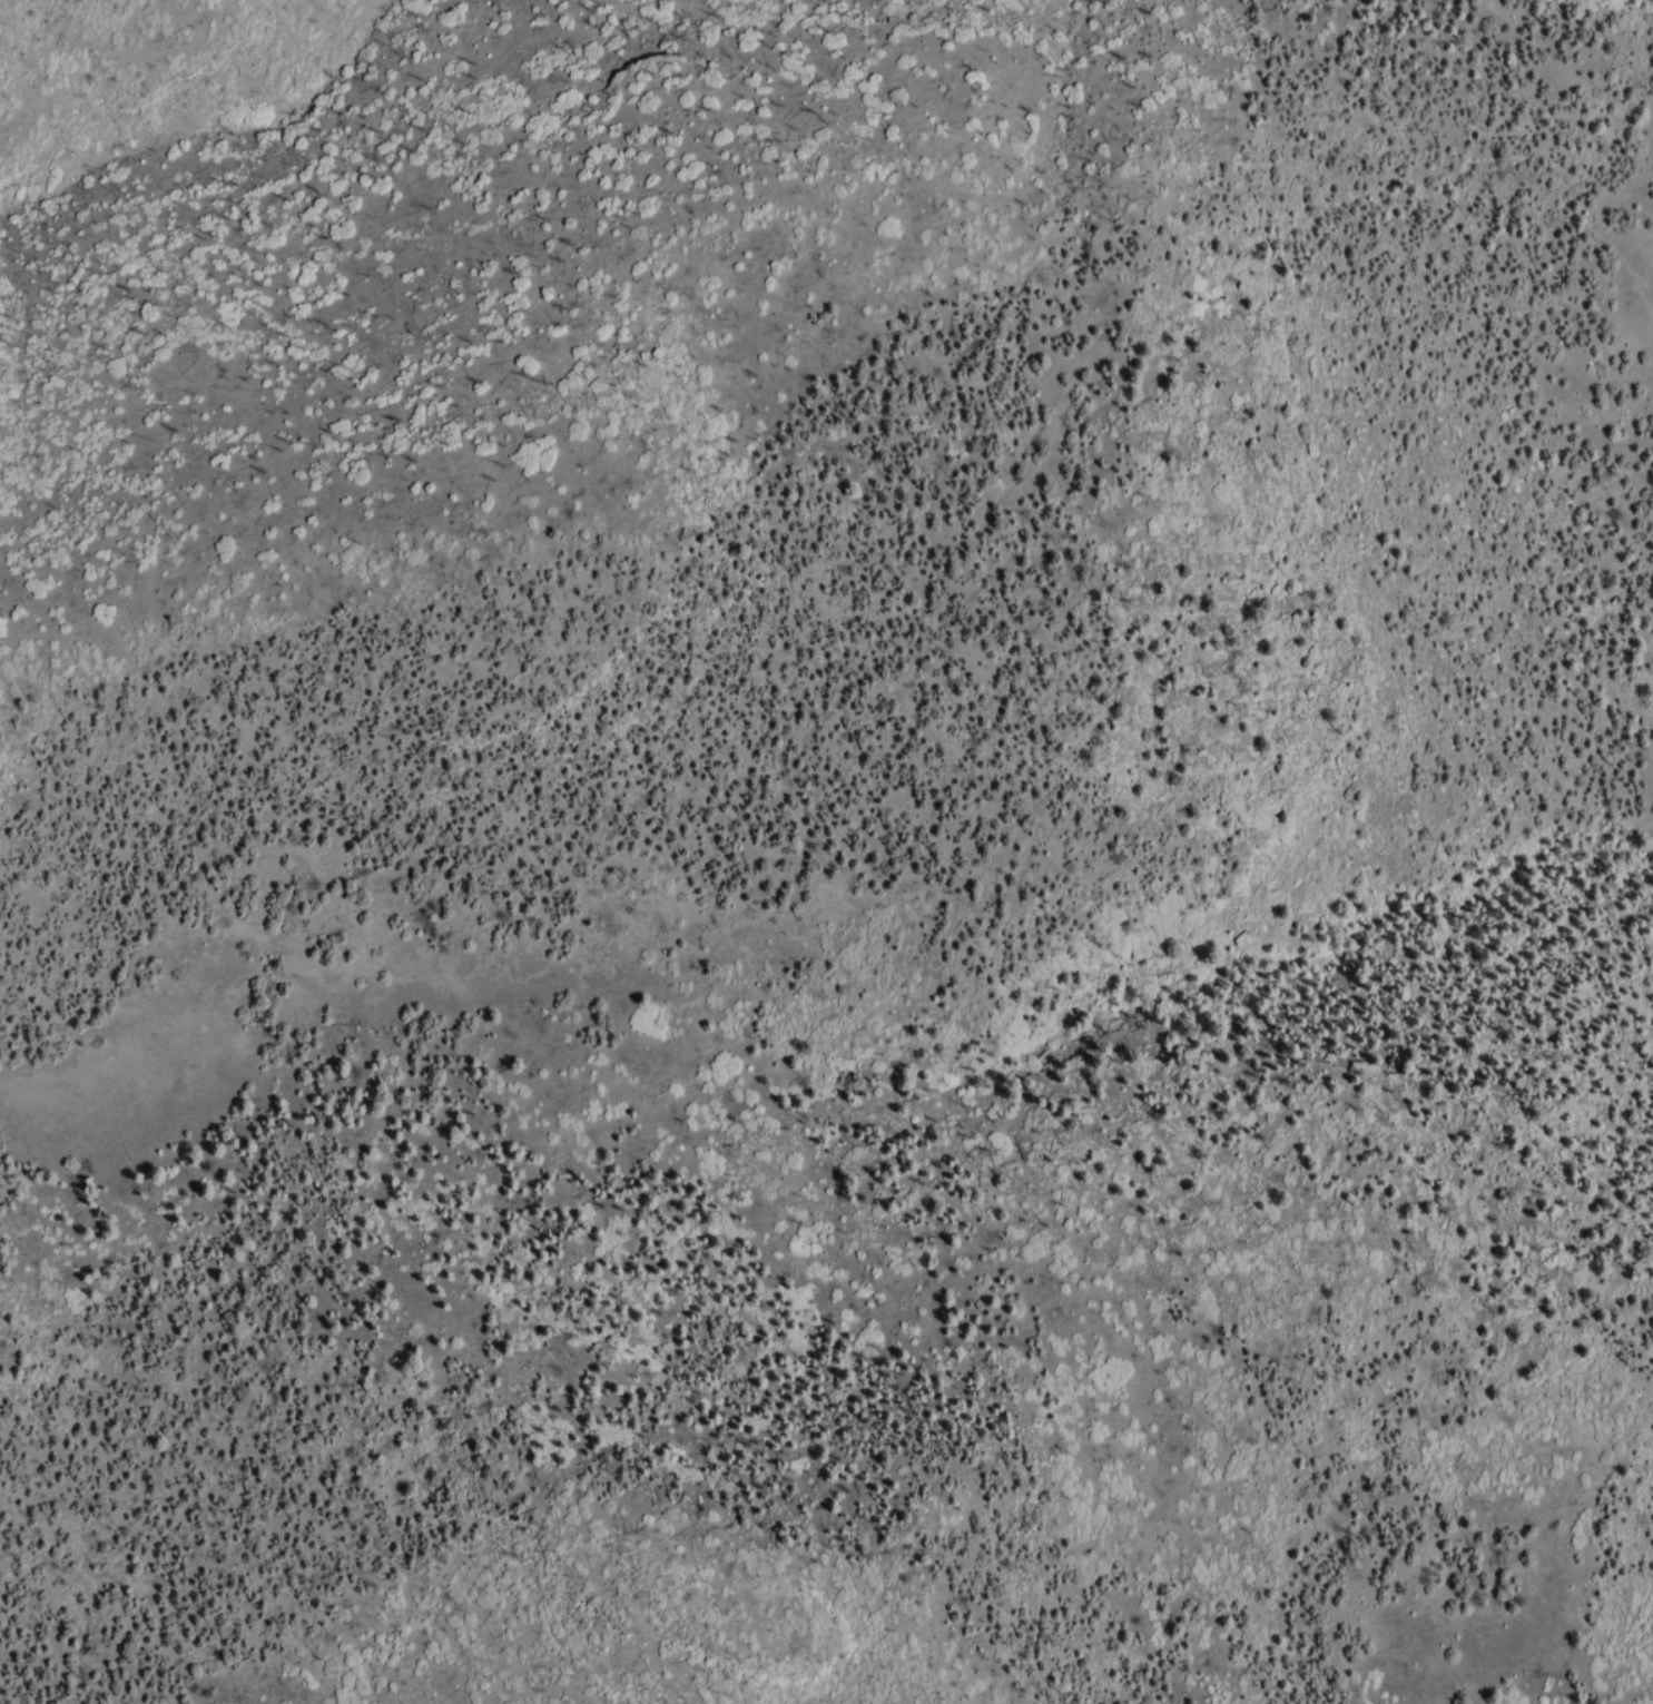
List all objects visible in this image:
road: (1610, 138)

